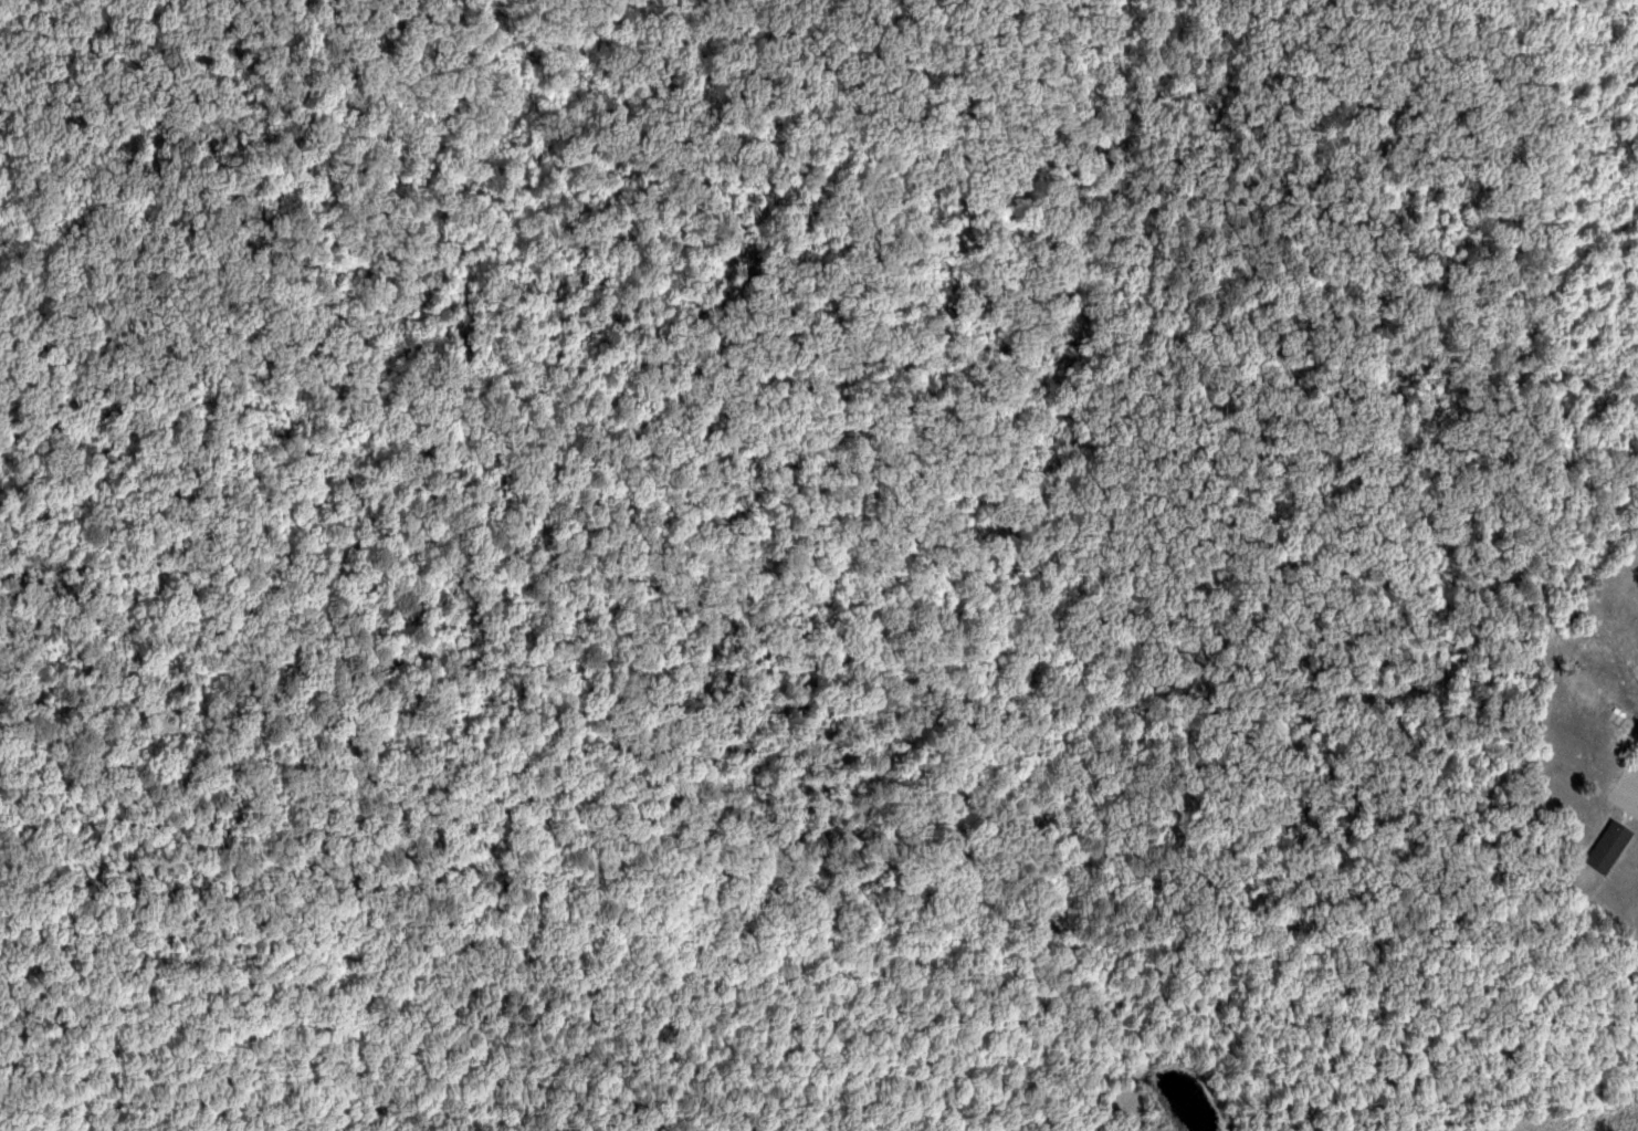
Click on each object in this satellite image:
building: (1613, 847)

